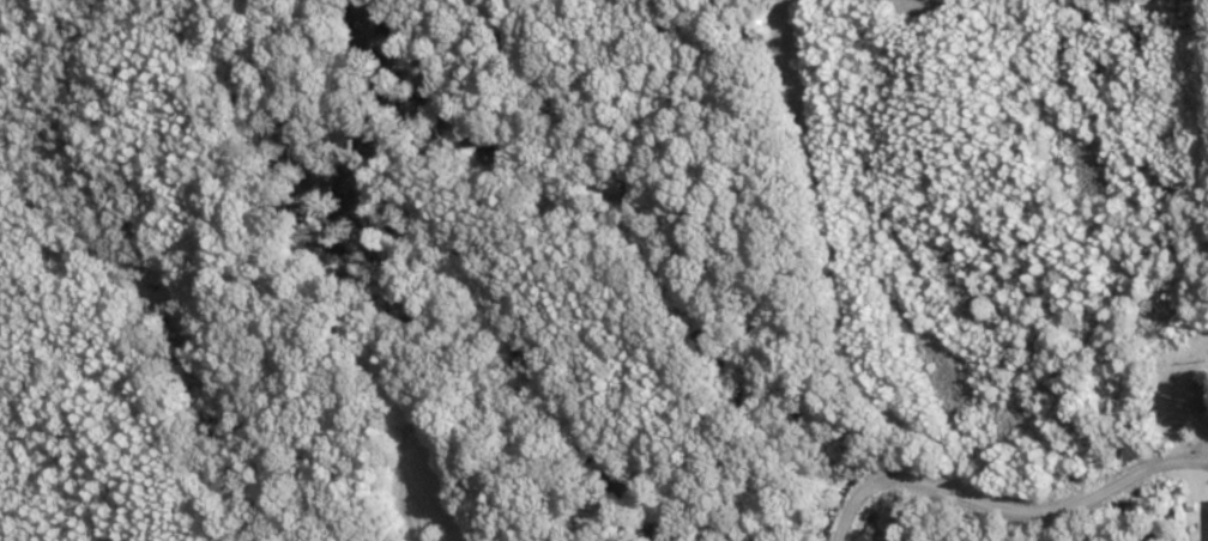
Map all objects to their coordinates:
building: (1206, 397)
road: (995, 490)

